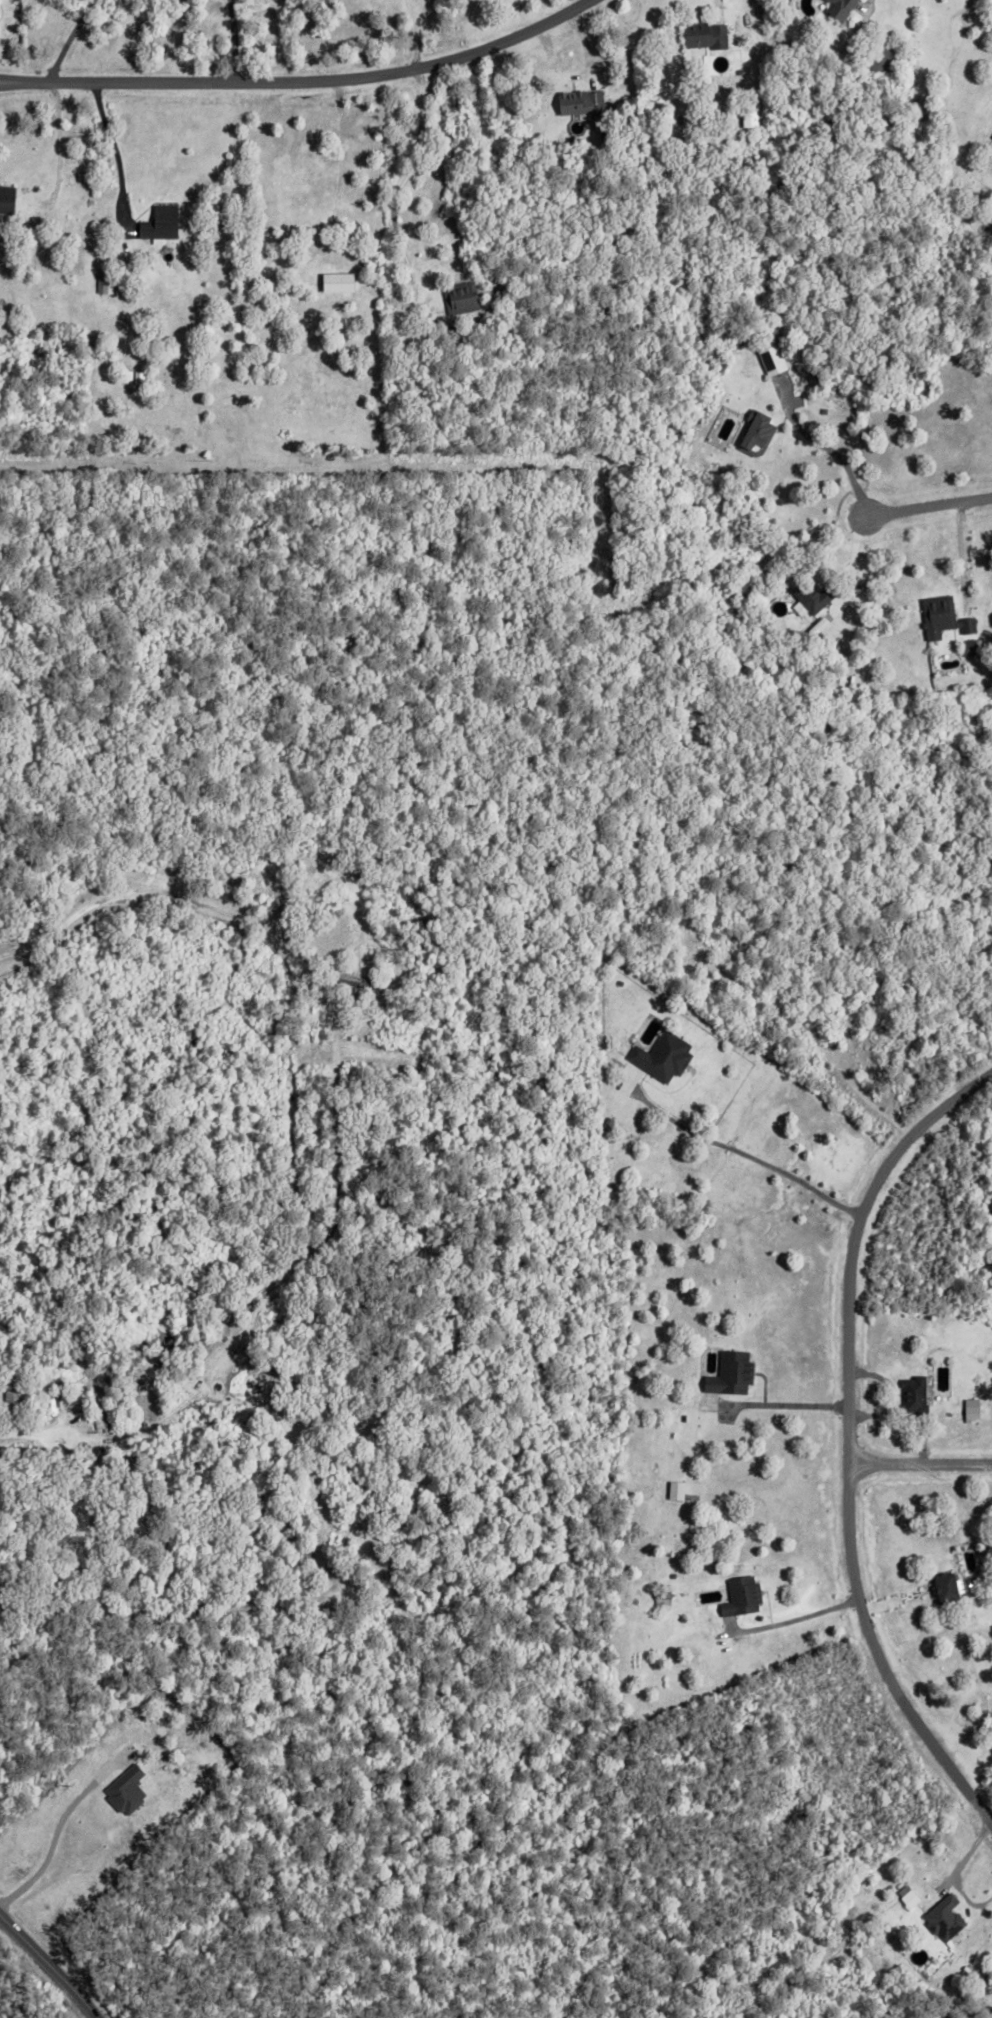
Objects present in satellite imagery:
road: (867, 4)
building: (837, 6)
building: (740, 18)
building: (735, 31)
road: (413, 33)
building: (702, 33)
road: (67, 38)
road: (233, 39)
building: (843, 53)
building: (879, 58)
road: (305, 78)
road: (3, 80)
road: (3, 81)
building: (579, 100)
building: (991, 134)
building: (745, 136)
road: (109, 151)
road: (402, 181)
building: (5, 198)
building: (964, 217)
building: (158, 221)
building: (102, 270)
building: (344, 283)
building: (458, 296)
building: (771, 361)
building: (124, 375)
building: (753, 434)
road: (834, 451)
road: (931, 506)
road: (960, 556)
road: (852, 559)
building: (810, 595)
building: (940, 616)
building: (817, 640)
building: (966, 645)
building: (788, 653)
road: (134, 899)
building: (298, 961)
building: (358, 982)
building: (658, 1057)
road: (746, 1156)
building: (728, 1374)
building: (58, 1380)
building: (10, 1389)
building: (911, 1396)
road: (776, 1401)
building: (967, 1409)
building: (96, 1412)
road: (34, 1432)
road: (848, 1443)
road: (920, 1466)
building: (674, 1487)
building: (47, 1496)
building: (37, 1500)
building: (65, 1545)
building: (175, 1550)
building: (945, 1580)
building: (738, 1593)
building: (660, 1600)
road: (809, 1611)
building: (123, 1791)
road: (55, 1830)
road: (955, 1872)
building: (907, 1895)
building: (941, 1914)
road: (49, 1966)

